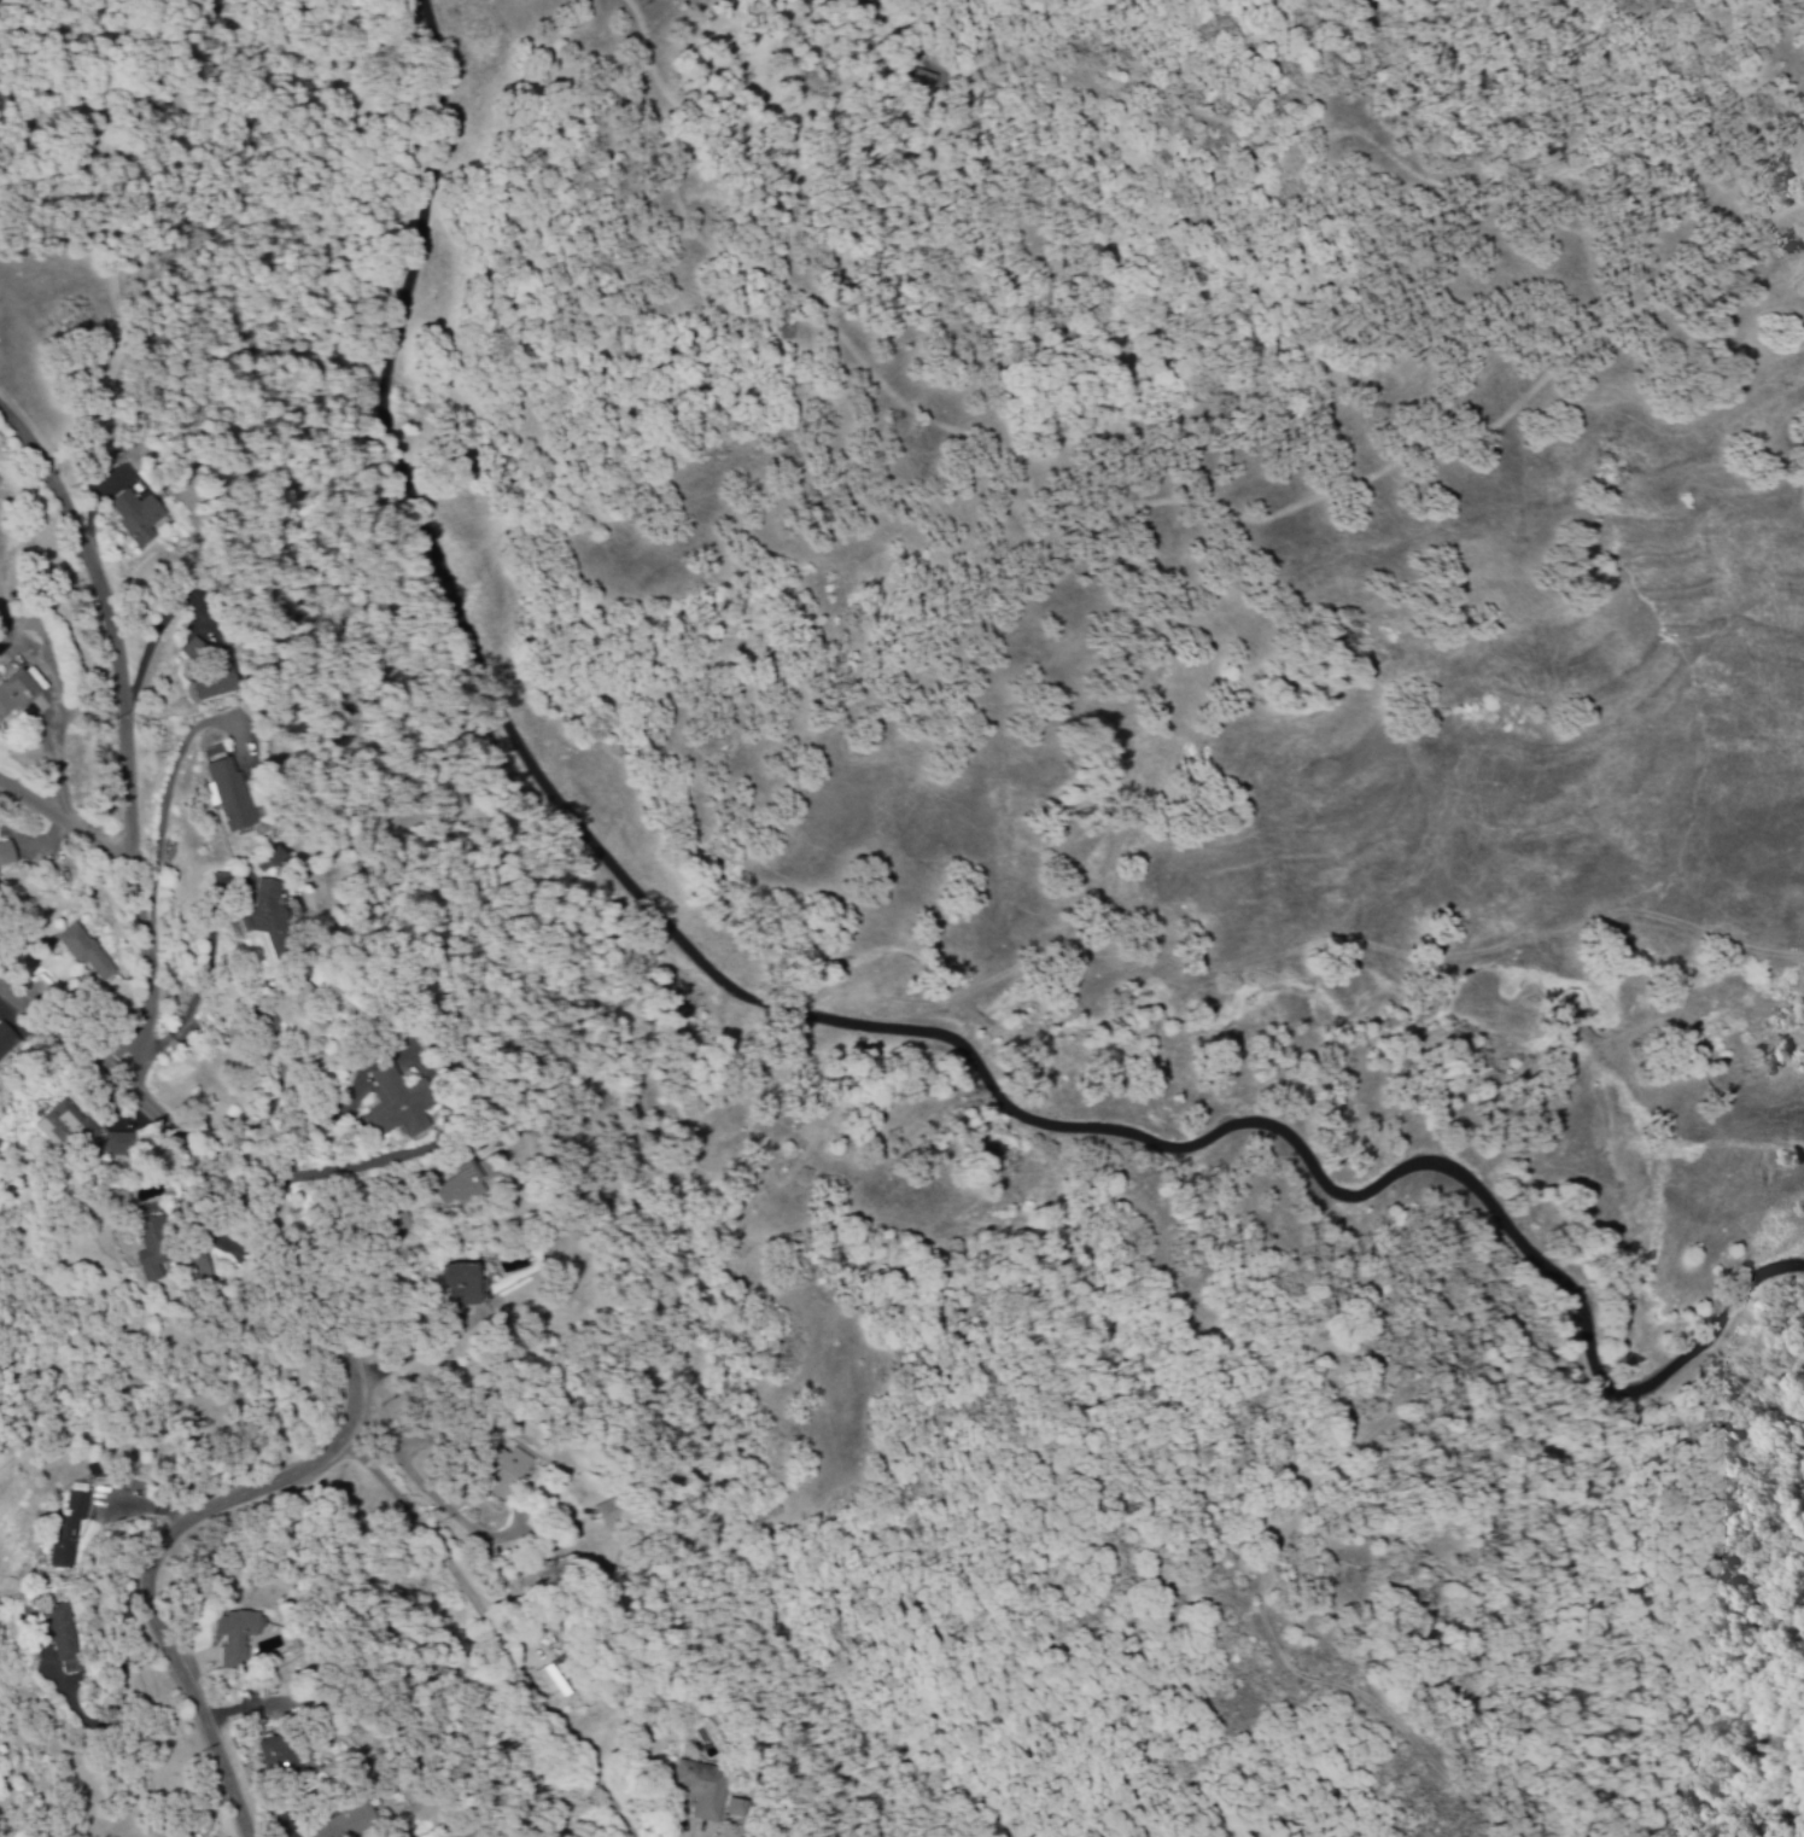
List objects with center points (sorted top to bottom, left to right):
building: (141, 519)
building: (203, 652)
building: (39, 681)
building: (224, 687)
building: (18, 695)
road: (129, 733)
road: (60, 735)
building: (223, 756)
building: (238, 797)
road: (64, 823)
building: (5, 861)
building: (275, 918)
road: (1313, 945)
building: (89, 955)
building: (306, 1013)
road: (837, 1020)
building: (7, 1042)
building: (408, 1106)
building: (69, 1129)
building: (122, 1147)
road: (296, 1157)
building: (469, 1190)
building: (157, 1249)
building: (200, 1267)
building: (467, 1287)
road: (357, 1411)
building: (508, 1472)
road: (413, 1477)
building: (611, 1515)
building: (71, 1529)
building: (238, 1638)
building: (65, 1641)
building: (559, 1685)
building: (281, 1757)
building: (705, 1791)
building: (740, 1810)
building: (351, 1825)

